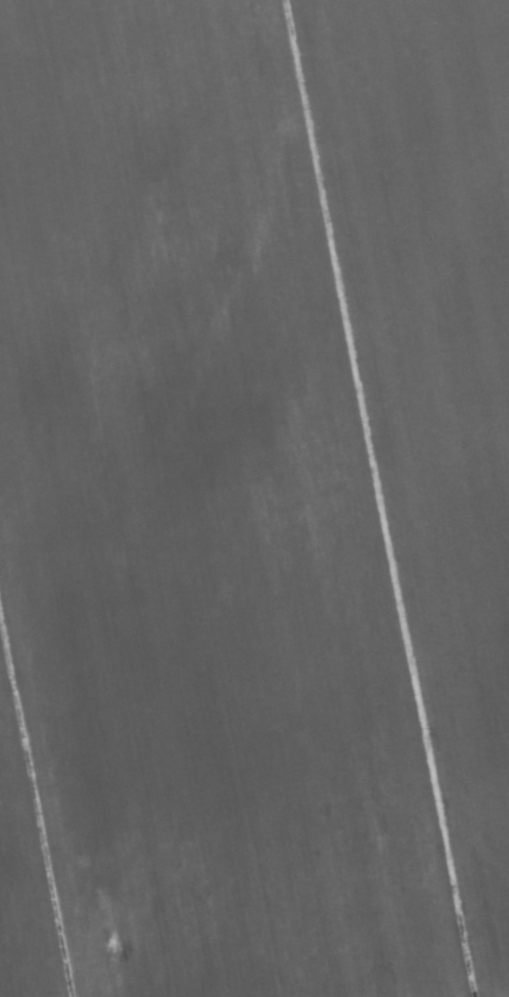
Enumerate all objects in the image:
crop: (254, 498)

